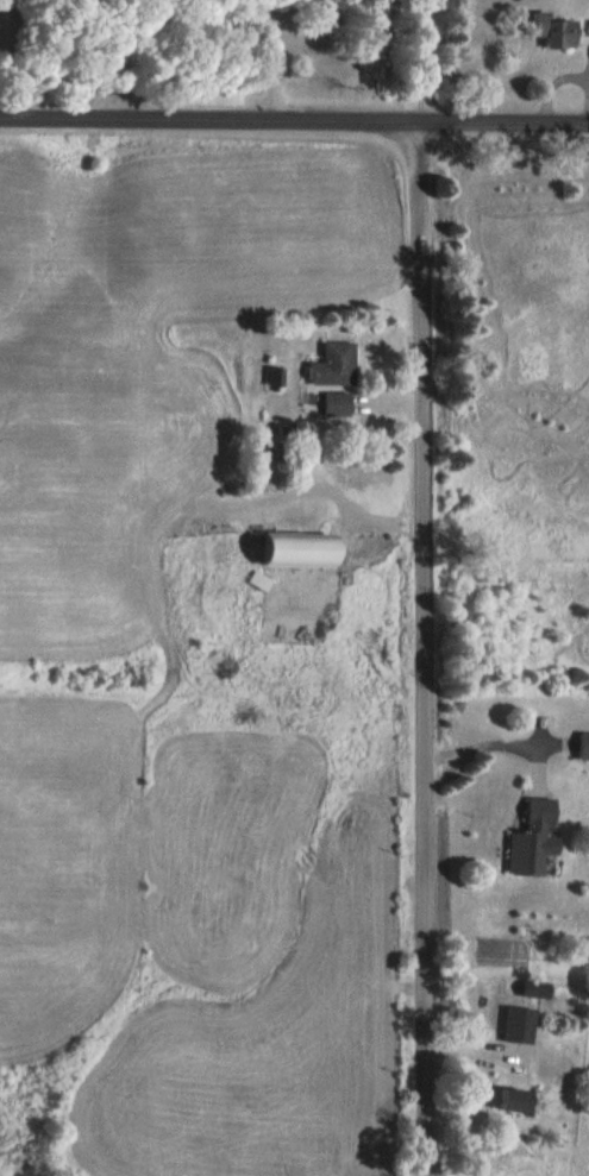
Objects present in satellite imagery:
building: (545, 32)
road: (272, 56)
road: (294, 115)
building: (324, 364)
building: (326, 403)
building: (283, 548)
building: (250, 581)
road: (420, 646)
building: (578, 747)
building: (525, 839)
building: (506, 1024)
building: (503, 1100)

